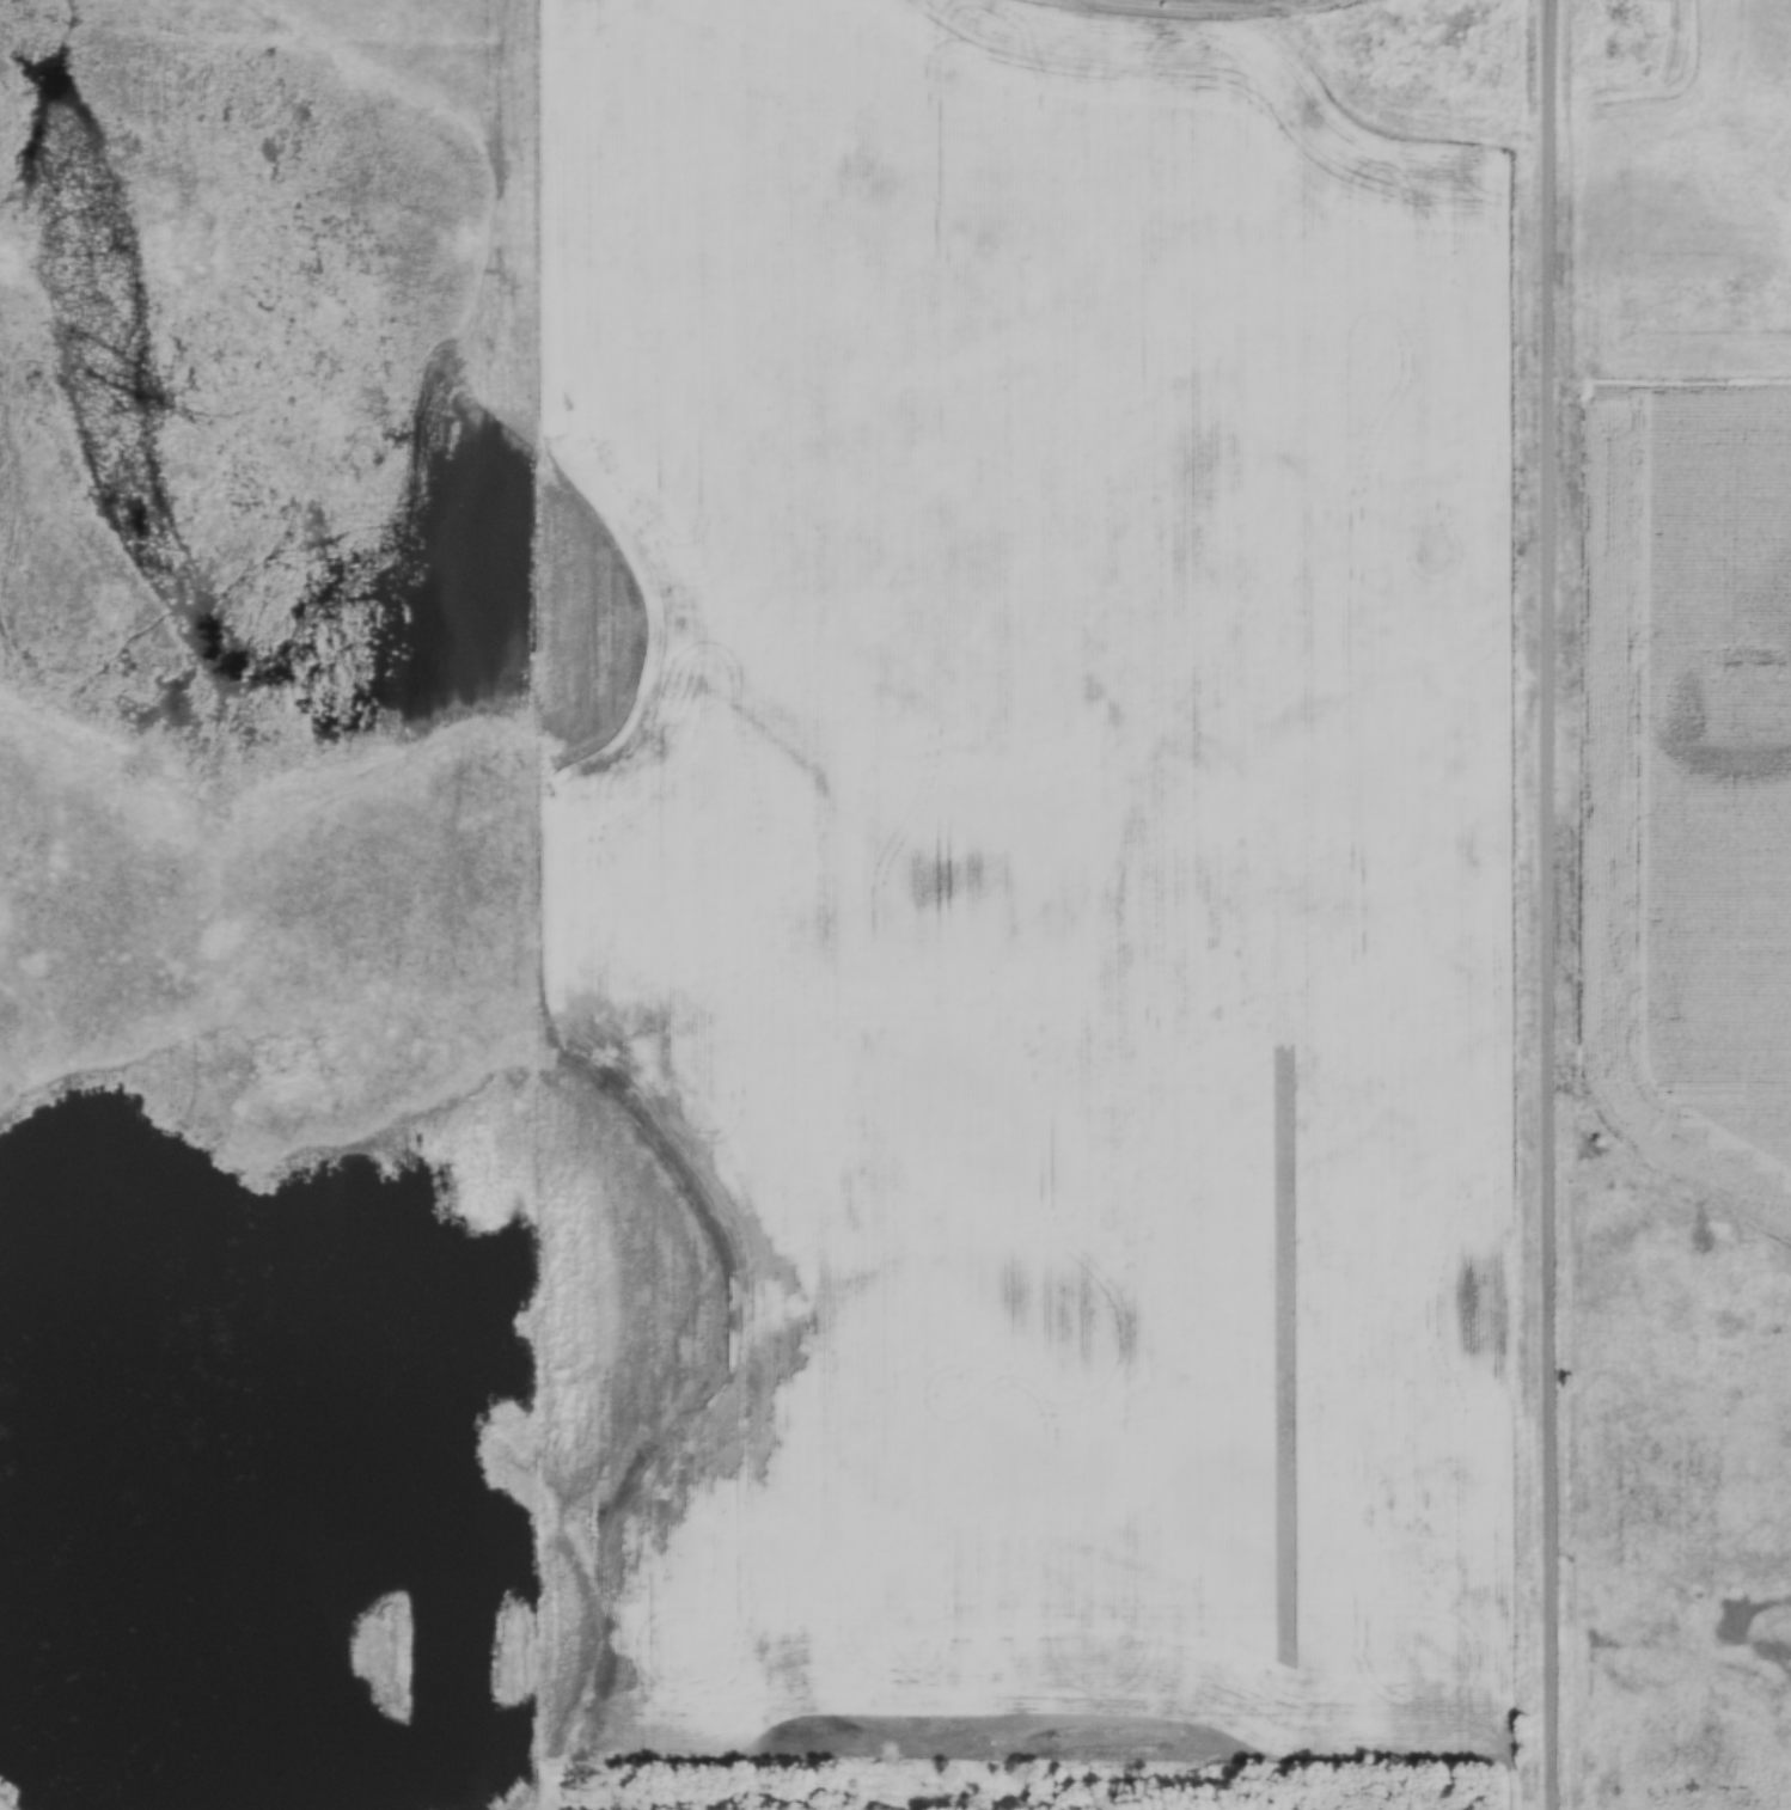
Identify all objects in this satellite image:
road: (1552, 905)

